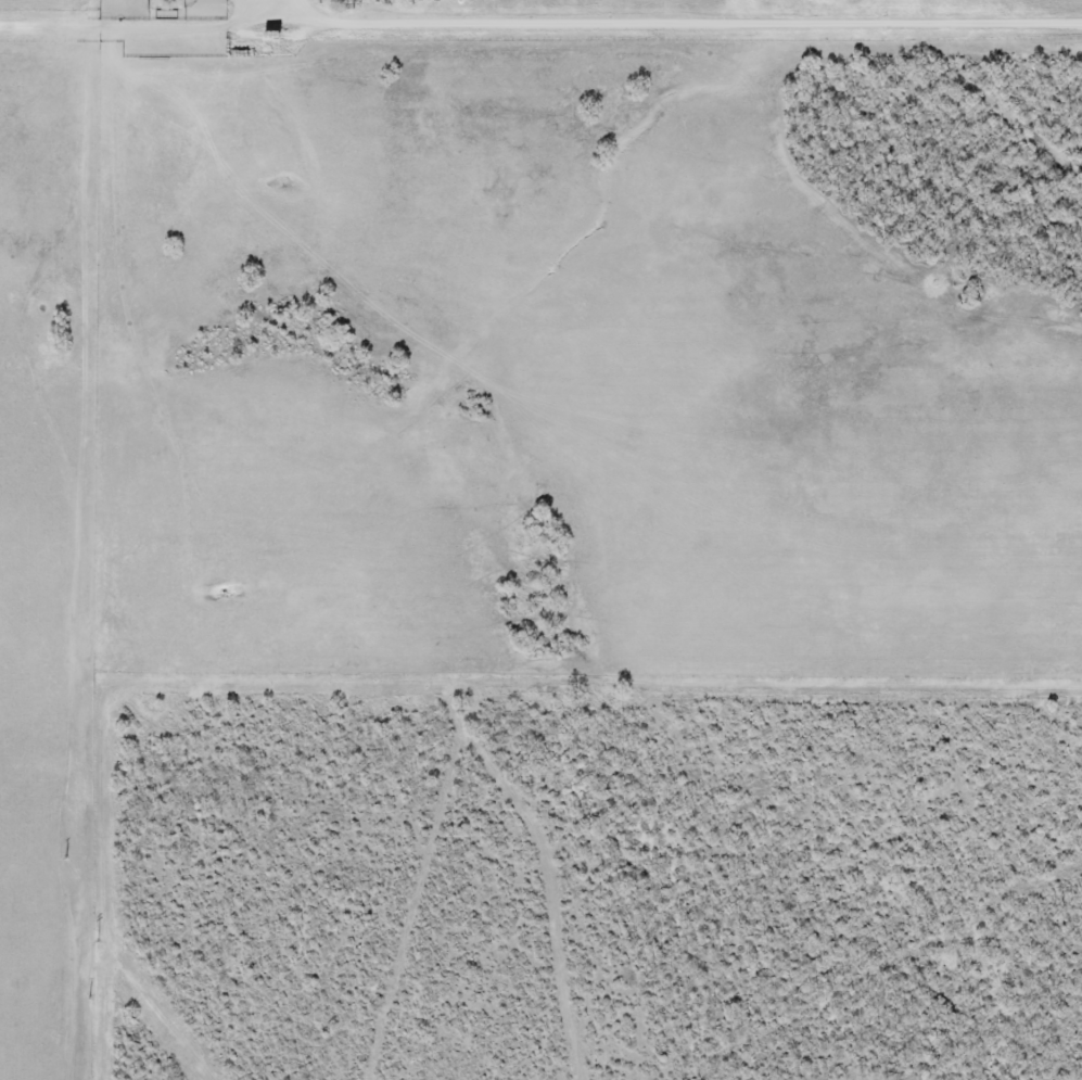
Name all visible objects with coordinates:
road: (538, 25)
power tower: (98, 941)

